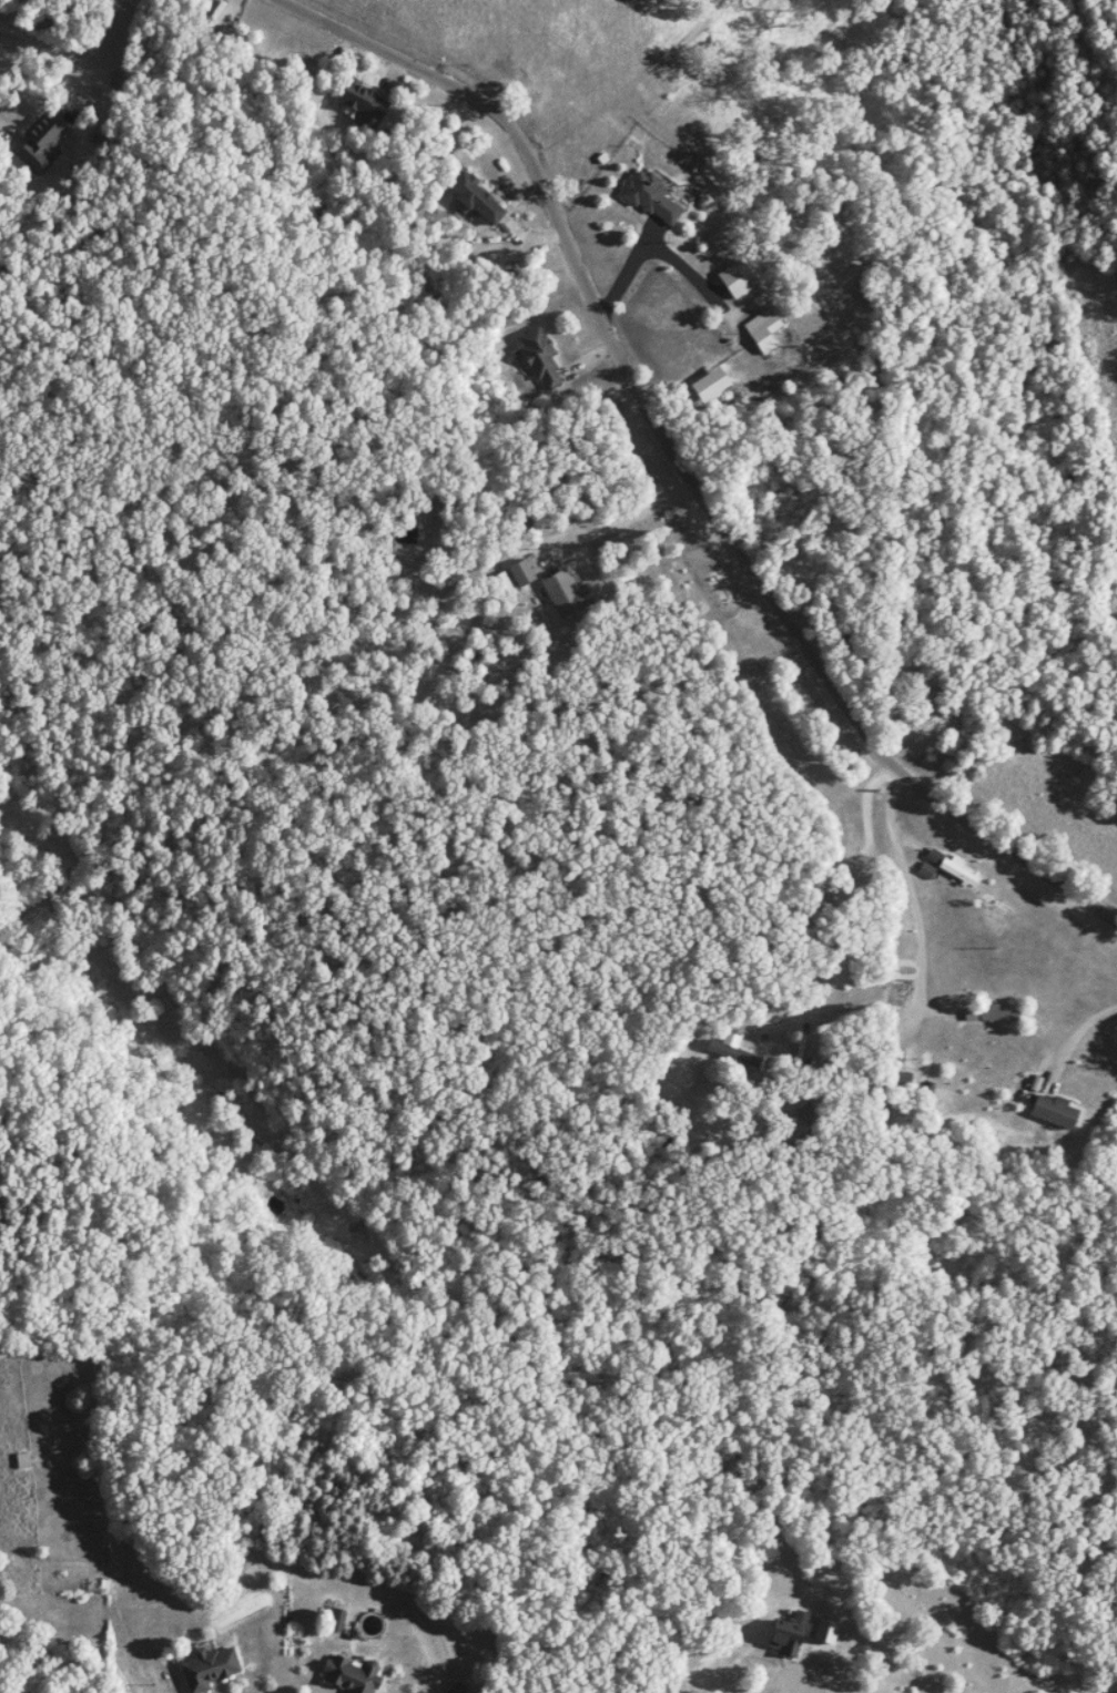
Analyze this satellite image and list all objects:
building: (365, 105)
road: (6, 130)
building: (40, 144)
building: (479, 197)
building: (652, 197)
road: (646, 252)
building: (769, 334)
building: (542, 358)
building: (715, 385)
road: (678, 466)
road: (612, 523)
building: (522, 573)
building: (567, 594)
road: (915, 921)
road: (855, 924)
building: (991, 1014)
building: (733, 1039)
road: (1066, 1040)
building: (1058, 1111)
building: (211, 1667)
building: (349, 1674)
road: (818, 1683)

